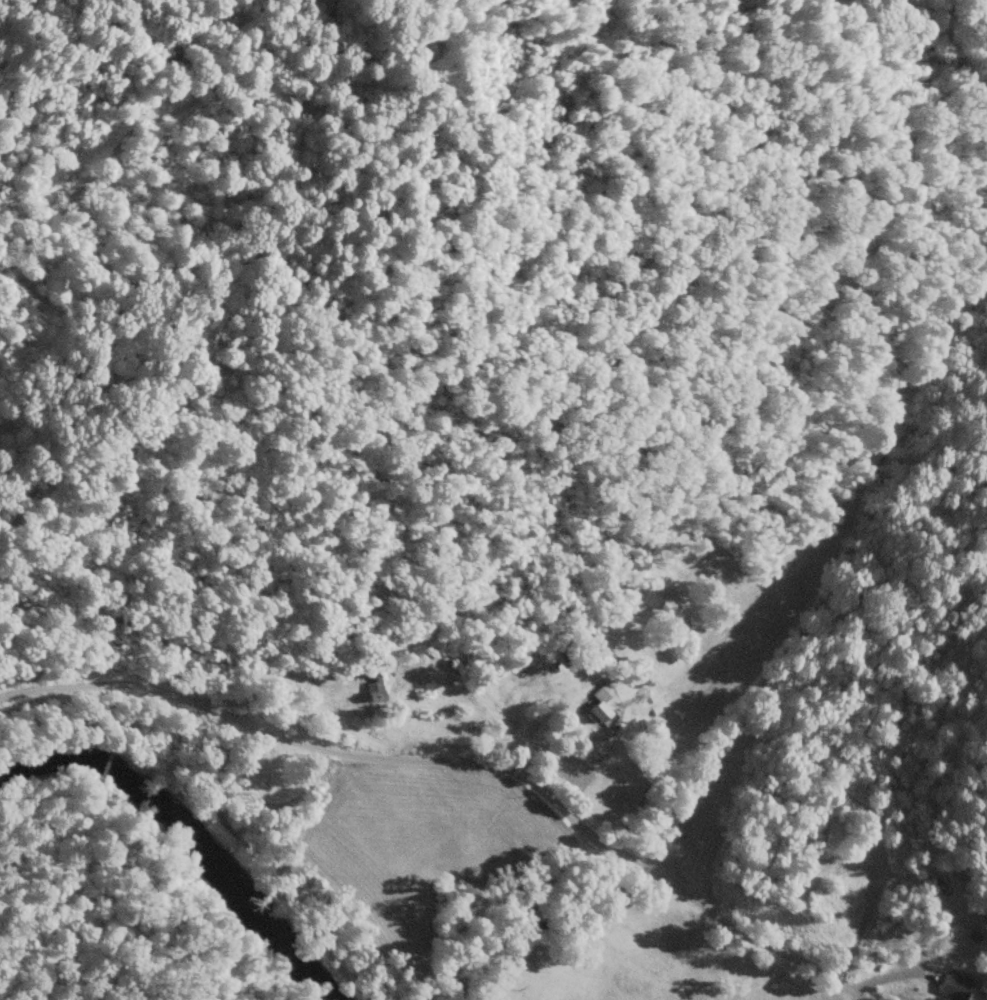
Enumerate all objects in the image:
road: (463, 761)

